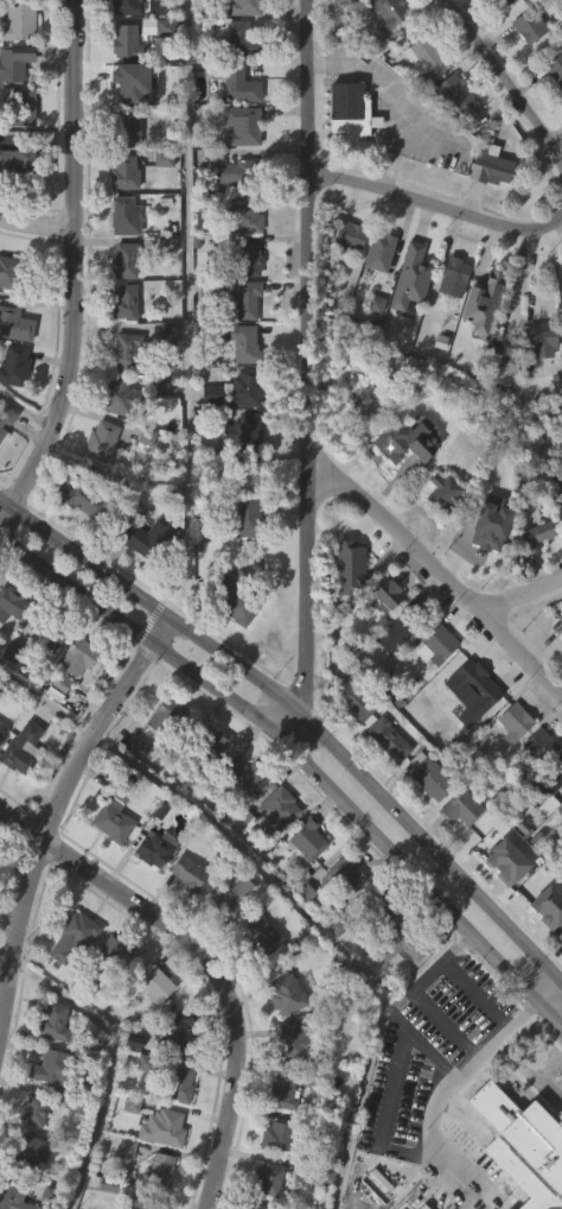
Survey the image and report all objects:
building: (152, 0)
building: (198, 0)
building: (502, 2)
building: (126, 6)
building: (243, 6)
building: (395, 10)
building: (479, 10)
building: (18, 20)
building: (349, 23)
building: (530, 25)
building: (502, 34)
building: (237, 38)
building: (126, 40)
building: (385, 46)
building: (153, 53)
building: (422, 55)
building: (14, 63)
building: (555, 68)
building: (157, 69)
building: (525, 74)
road: (504, 80)
building: (232, 82)
building: (124, 86)
road: (387, 93)
building: (454, 94)
building: (419, 103)
building: (23, 107)
building: (349, 108)
building: (554, 116)
building: (243, 125)
building: (128, 127)
building: (456, 146)
building: (345, 150)
road: (388, 156)
building: (18, 162)
building: (493, 166)
building: (123, 172)
building: (229, 172)
building: (160, 205)
road: (434, 205)
building: (15, 208)
building: (487, 214)
building: (124, 215)
building: (244, 215)
road: (37, 227)
building: (347, 234)
road: (307, 238)
building: (379, 251)
building: (251, 258)
building: (124, 260)
road: (76, 264)
building: (8, 271)
building: (411, 277)
building: (454, 277)
road: (512, 280)
building: (346, 283)
building: (244, 298)
building: (376, 298)
building: (479, 299)
building: (124, 302)
road: (186, 316)
building: (408, 323)
building: (451, 324)
building: (14, 325)
building: (542, 337)
building: (240, 341)
building: (479, 349)
building: (124, 352)
building: (371, 352)
building: (504, 362)
building: (13, 366)
building: (165, 382)
building: (538, 382)
building: (248, 388)
building: (561, 392)
building: (121, 397)
road: (26, 409)
building: (502, 409)
building: (7, 419)
building: (242, 431)
building: (155, 435)
building: (101, 438)
building: (408, 439)
building: (209, 441)
building: (4, 464)
building: (242, 476)
building: (100, 485)
building: (401, 489)
building: (445, 495)
building: (84, 496)
building: (244, 517)
building: (561, 518)
building: (541, 533)
building: (440, 537)
building: (145, 539)
building: (488, 545)
building: (78, 546)
building: (557, 546)
building: (243, 564)
building: (352, 565)
road: (442, 574)
building: (535, 581)
building: (140, 583)
building: (387, 595)
road: (521, 595)
building: (234, 600)
building: (11, 602)
road: (307, 608)
building: (346, 613)
building: (561, 619)
building: (52, 628)
building: (397, 633)
building: (561, 637)
building: (381, 641)
building: (440, 645)
building: (231, 650)
building: (11, 651)
building: (79, 658)
building: (560, 667)
building: (392, 677)
building: (46, 679)
building: (560, 685)
building: (472, 690)
building: (435, 691)
building: (353, 695)
road: (45, 698)
building: (76, 703)
building: (166, 715)
building: (513, 719)
road: (302, 720)
road: (96, 723)
building: (2, 729)
building: (55, 734)
building: (468, 736)
building: (389, 740)
building: (207, 742)
building: (349, 745)
building: (541, 746)
building: (20, 748)
building: (165, 762)
road: (301, 764)
building: (556, 766)
building: (511, 768)
building: (1, 774)
building: (241, 774)
building: (429, 777)
building: (385, 785)
building: (210, 791)
building: (537, 792)
building: (18, 795)
building: (135, 795)
building: (283, 803)
building: (461, 808)
building: (114, 810)
building: (238, 821)
road: (20, 822)
building: (428, 822)
building: (545, 833)
building: (307, 837)
building: (114, 844)
building: (154, 847)
building: (458, 854)
building: (274, 856)
building: (558, 857)
building: (108, 869)
building: (187, 872)
building: (344, 876)
building: (304, 886)
building: (152, 894)
building: (231, 900)
building: (377, 907)
building: (503, 907)
building: (185, 919)
building: (343, 922)
road: (17, 928)
road: (322, 929)
building: (72, 935)
building: (263, 935)
building: (560, 935)
building: (402, 941)
building: (230, 945)
road: (6, 951)
building: (545, 952)
building: (377, 954)
building: (116, 955)
road: (438, 962)
building: (261, 979)
building: (558, 982)
building: (69, 983)
building: (154, 983)
road: (217, 983)
building: (395, 990)
building: (286, 993)
road: (548, 995)
building: (113, 1000)
building: (53, 1021)
building: (152, 1030)
building: (173, 1031)
building: (290, 1042)
road: (470, 1055)
road: (108, 1061)
building: (53, 1066)
building: (178, 1084)
building: (130, 1088)
building: (282, 1089)
road: (391, 1096)
road: (434, 1102)
building: (32, 1108)
building: (141, 1108)
building: (47, 1113)
building: (168, 1127)
building: (276, 1134)
building: (523, 1145)
building: (26, 1152)
building: (160, 1170)
building: (267, 1179)
building: (9, 1192)
building: (123, 1194)
building: (27, 1195)
building: (142, 1203)
building: (159, 1204)
building: (257, 1205)

